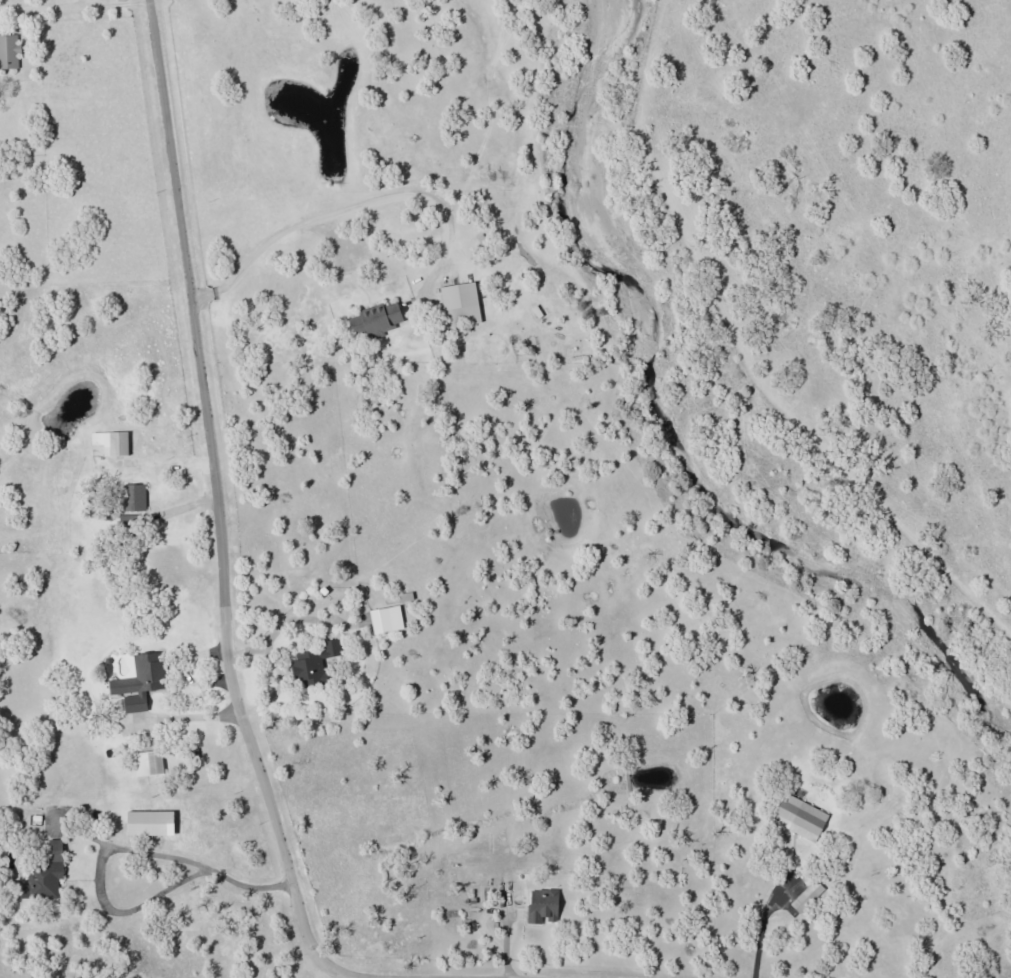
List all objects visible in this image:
building: (9, 52)
building: (461, 304)
building: (375, 321)
building: (112, 442)
building: (134, 497)
road: (229, 579)
building: (387, 619)
building: (314, 663)
building: (141, 682)
building: (148, 763)
building: (800, 817)
building: (150, 823)
building: (45, 875)
building: (807, 897)
building: (543, 906)

